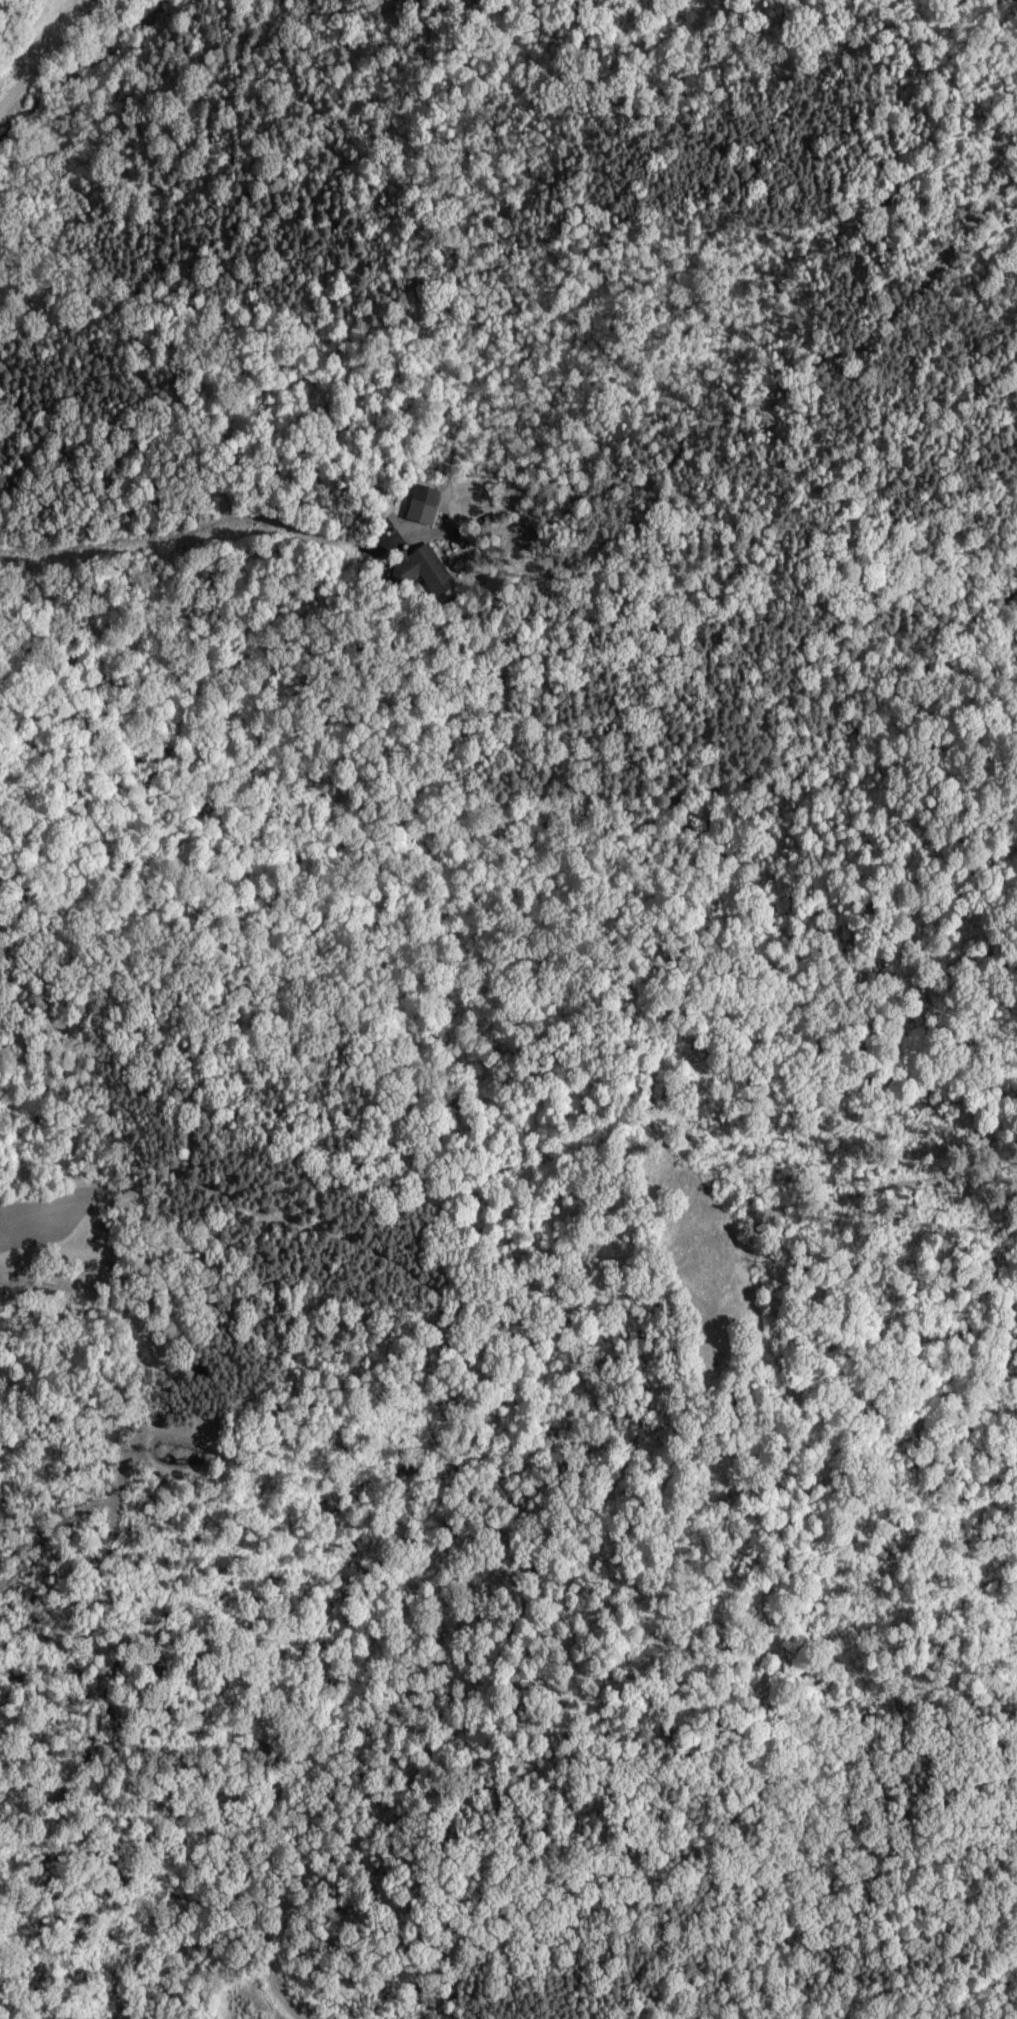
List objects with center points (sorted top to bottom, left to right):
road: (83, 77)
road: (560, 447)
building: (423, 505)
building: (424, 571)

